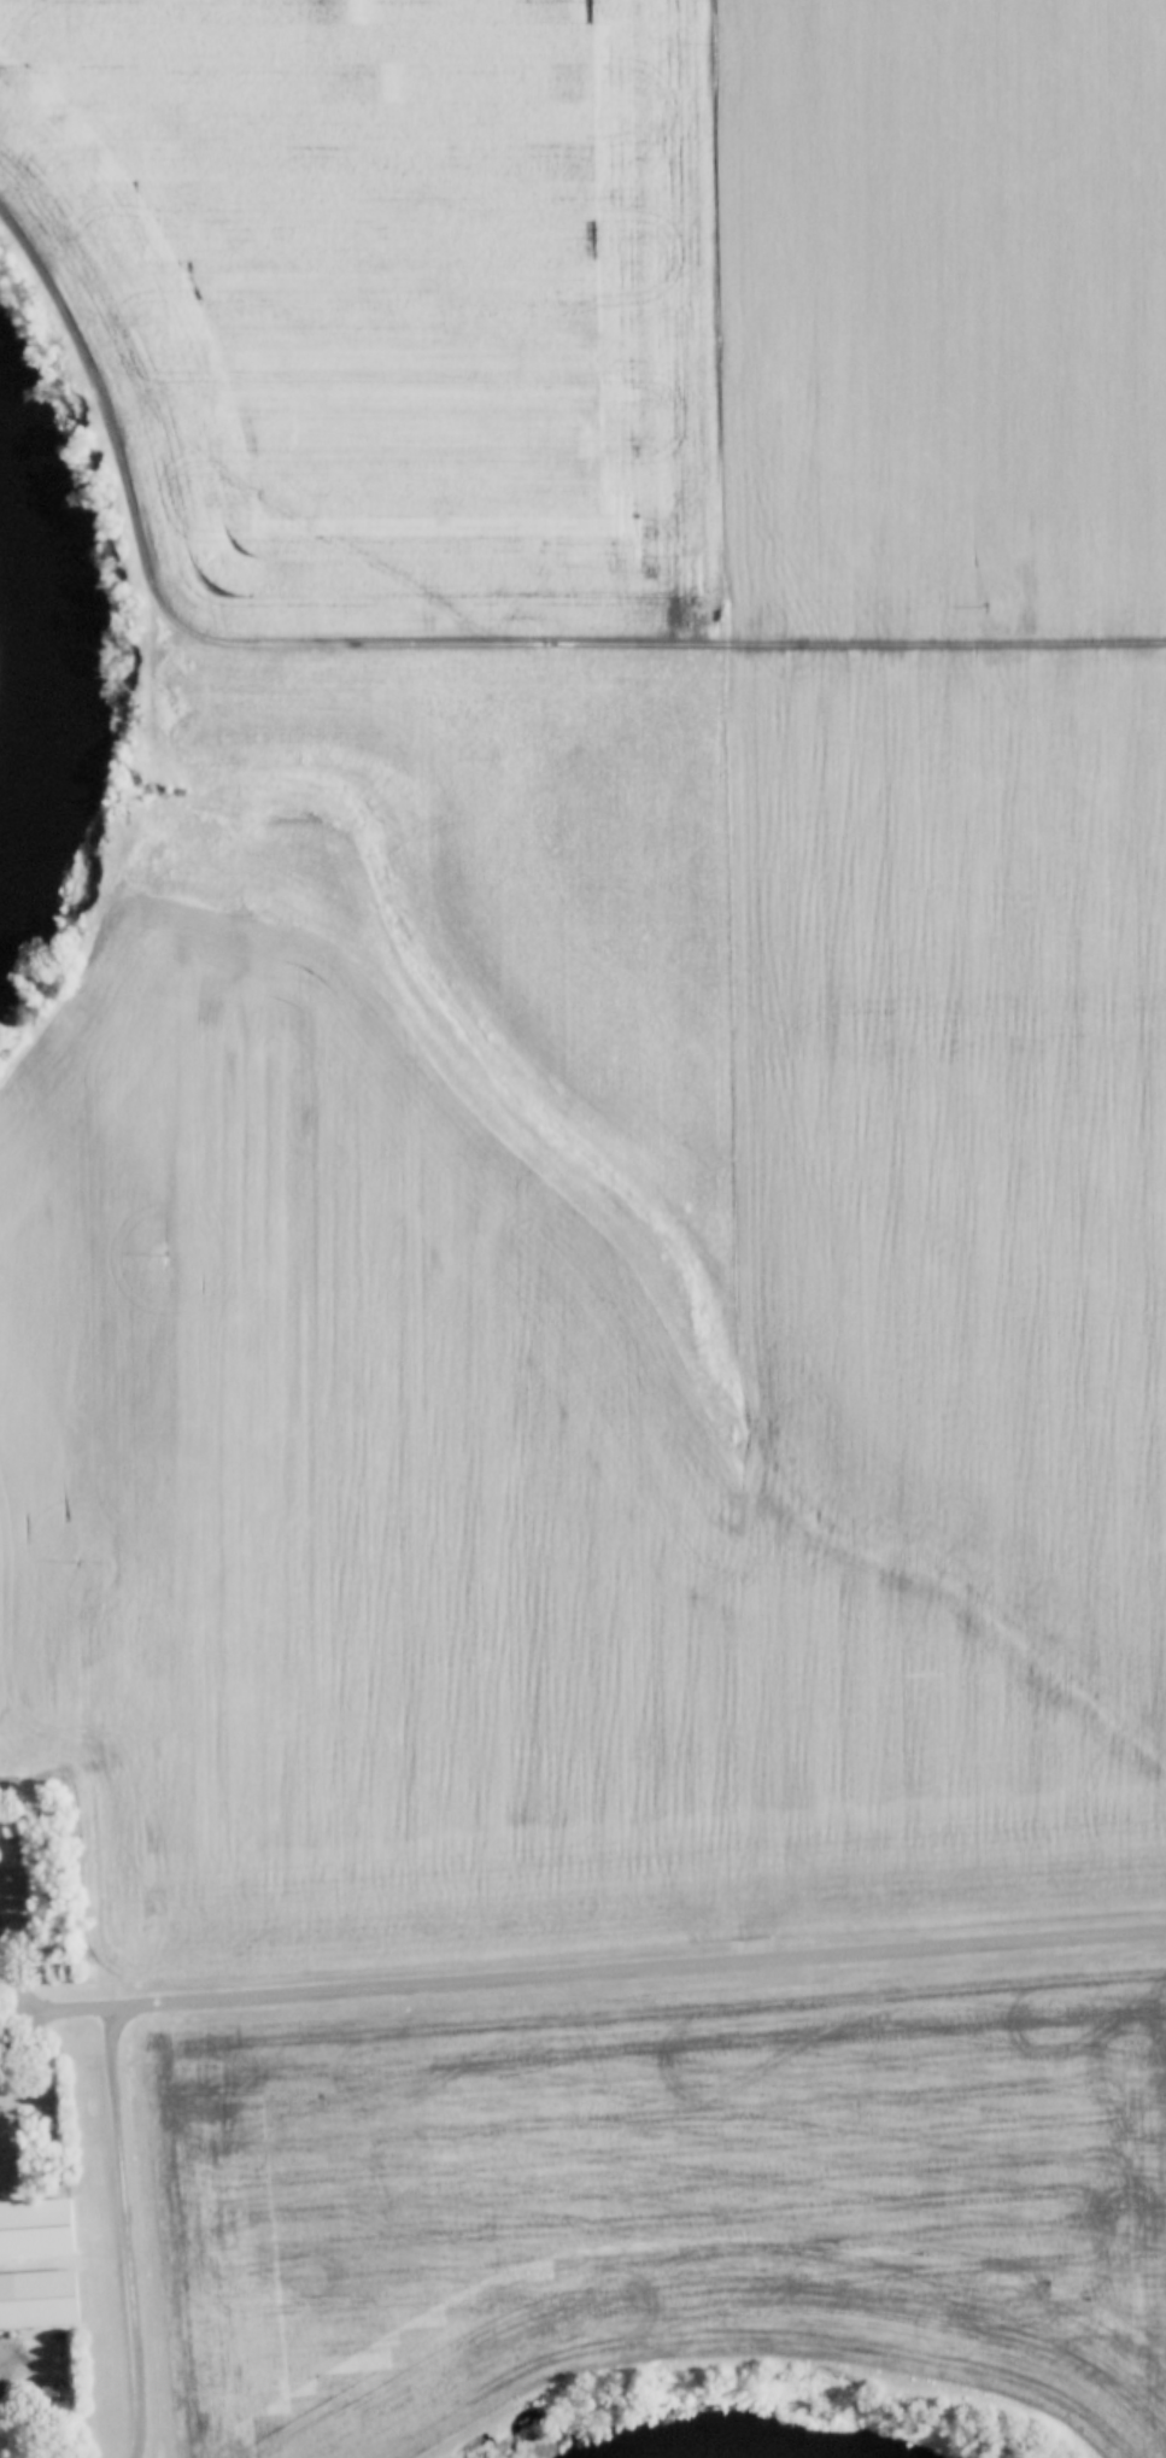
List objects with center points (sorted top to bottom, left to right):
road: (668, 633)
river: (49, 686)
road: (579, 1964)
building: (36, 2300)

